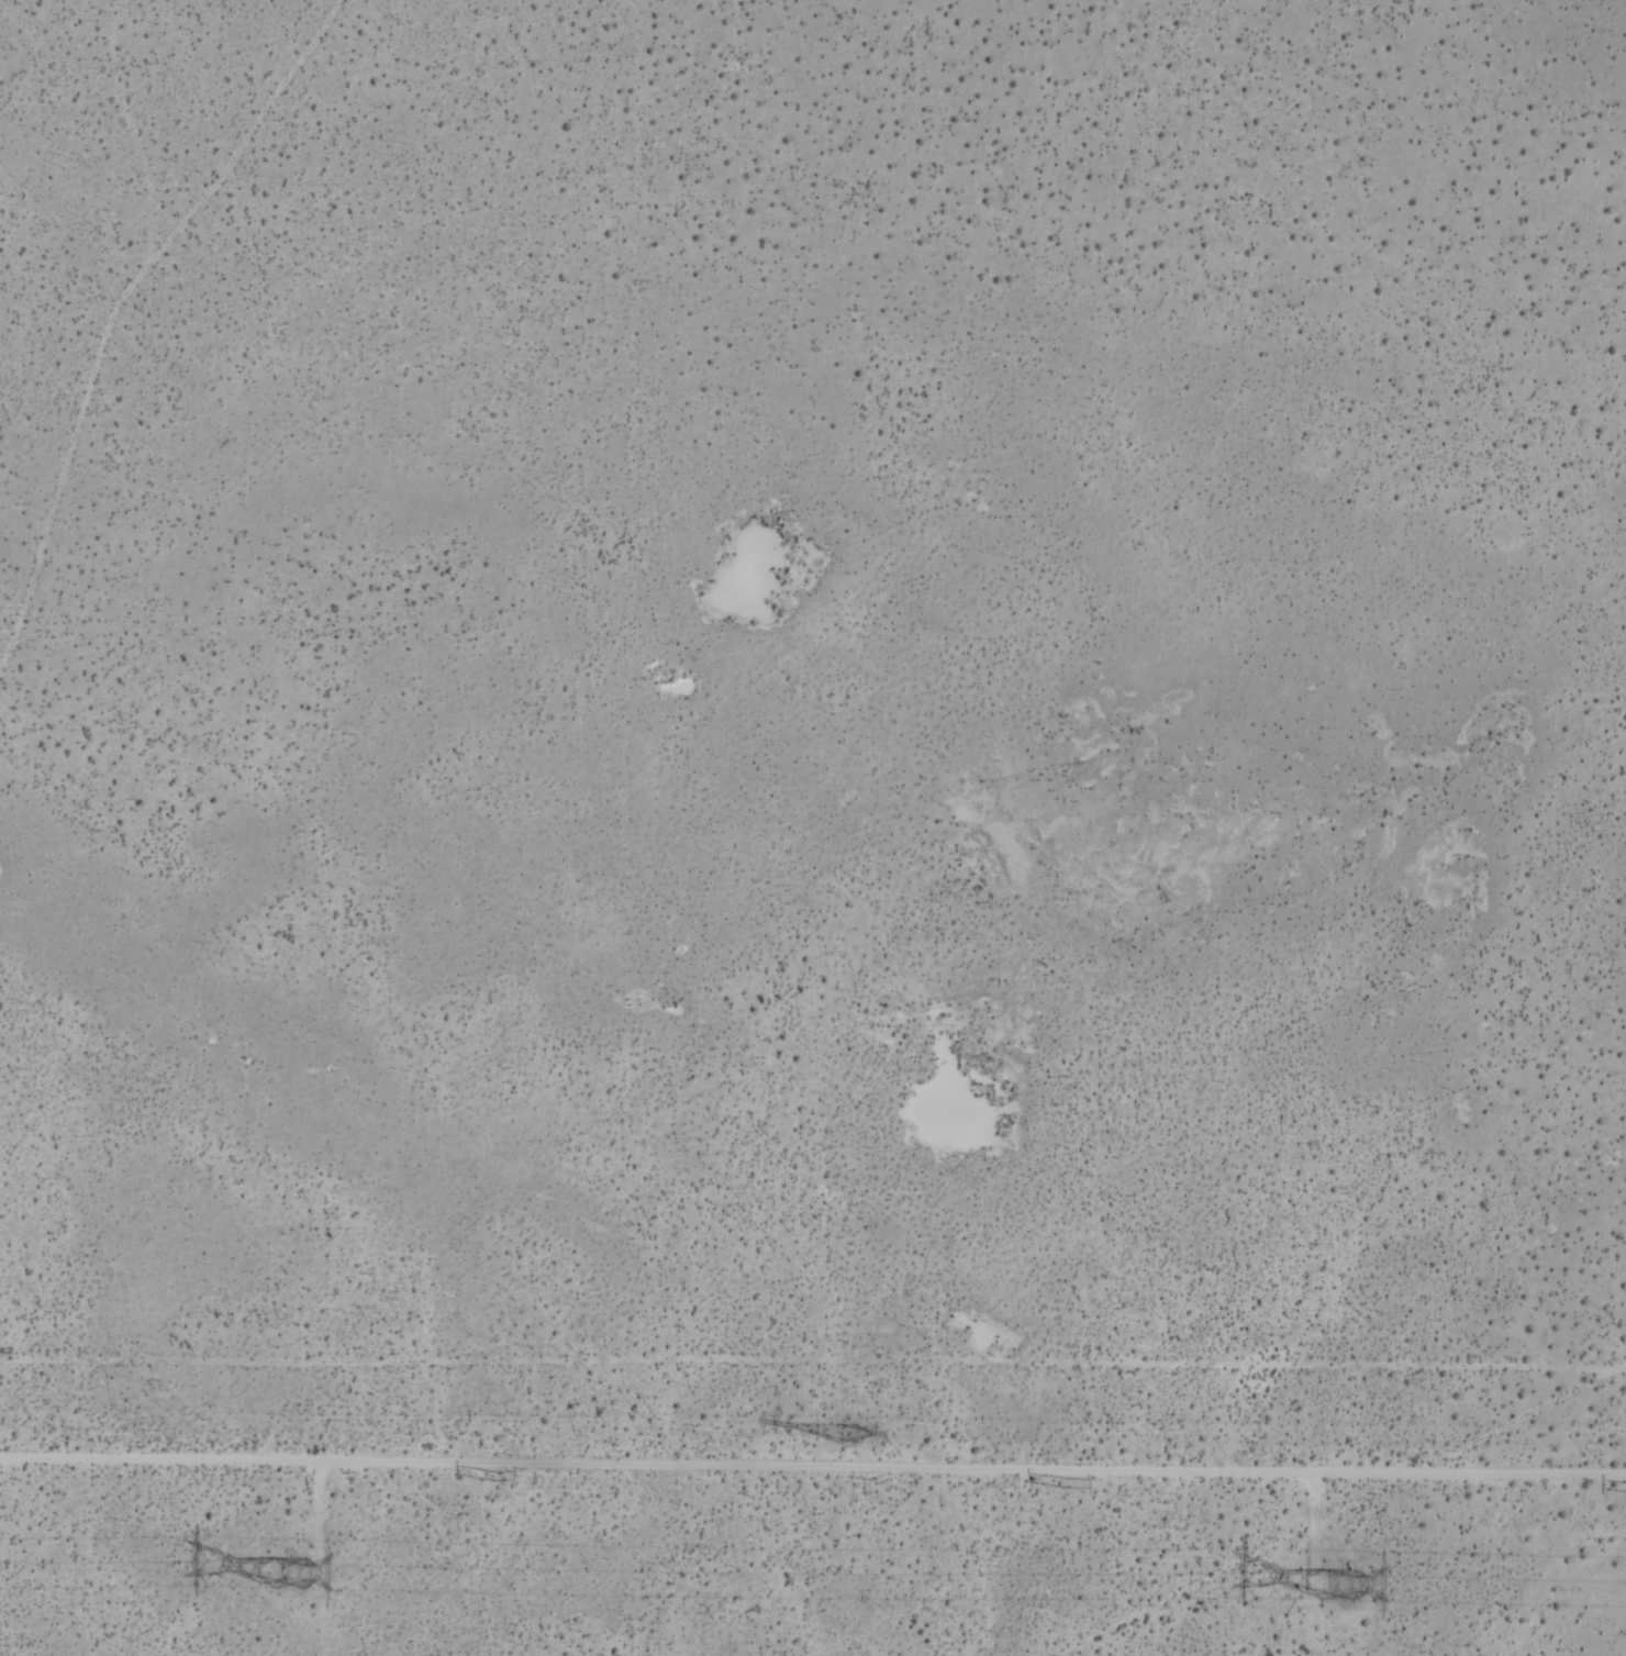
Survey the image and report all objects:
power tower: (848, 1435)
road: (813, 1467)
power tower: (492, 1476)
power tower: (1073, 1482)
power tower: (283, 1567)
power tower: (1336, 1587)

